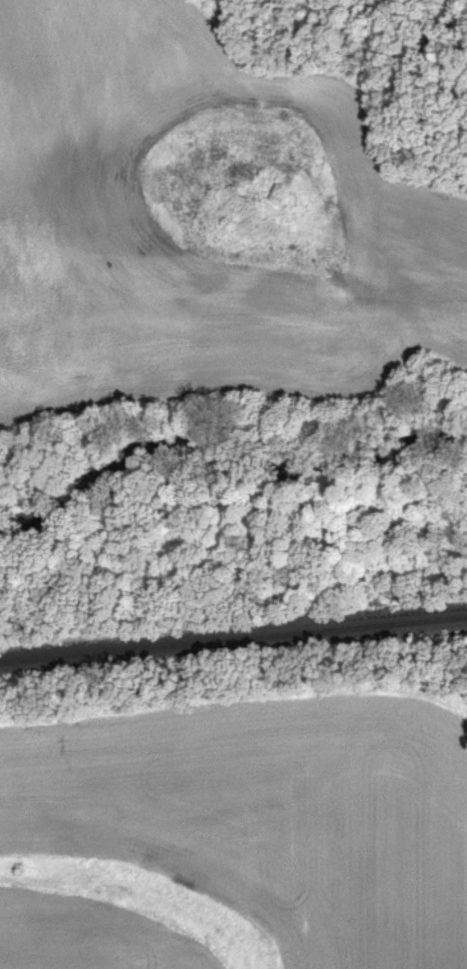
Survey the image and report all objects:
railway: (233, 639)

